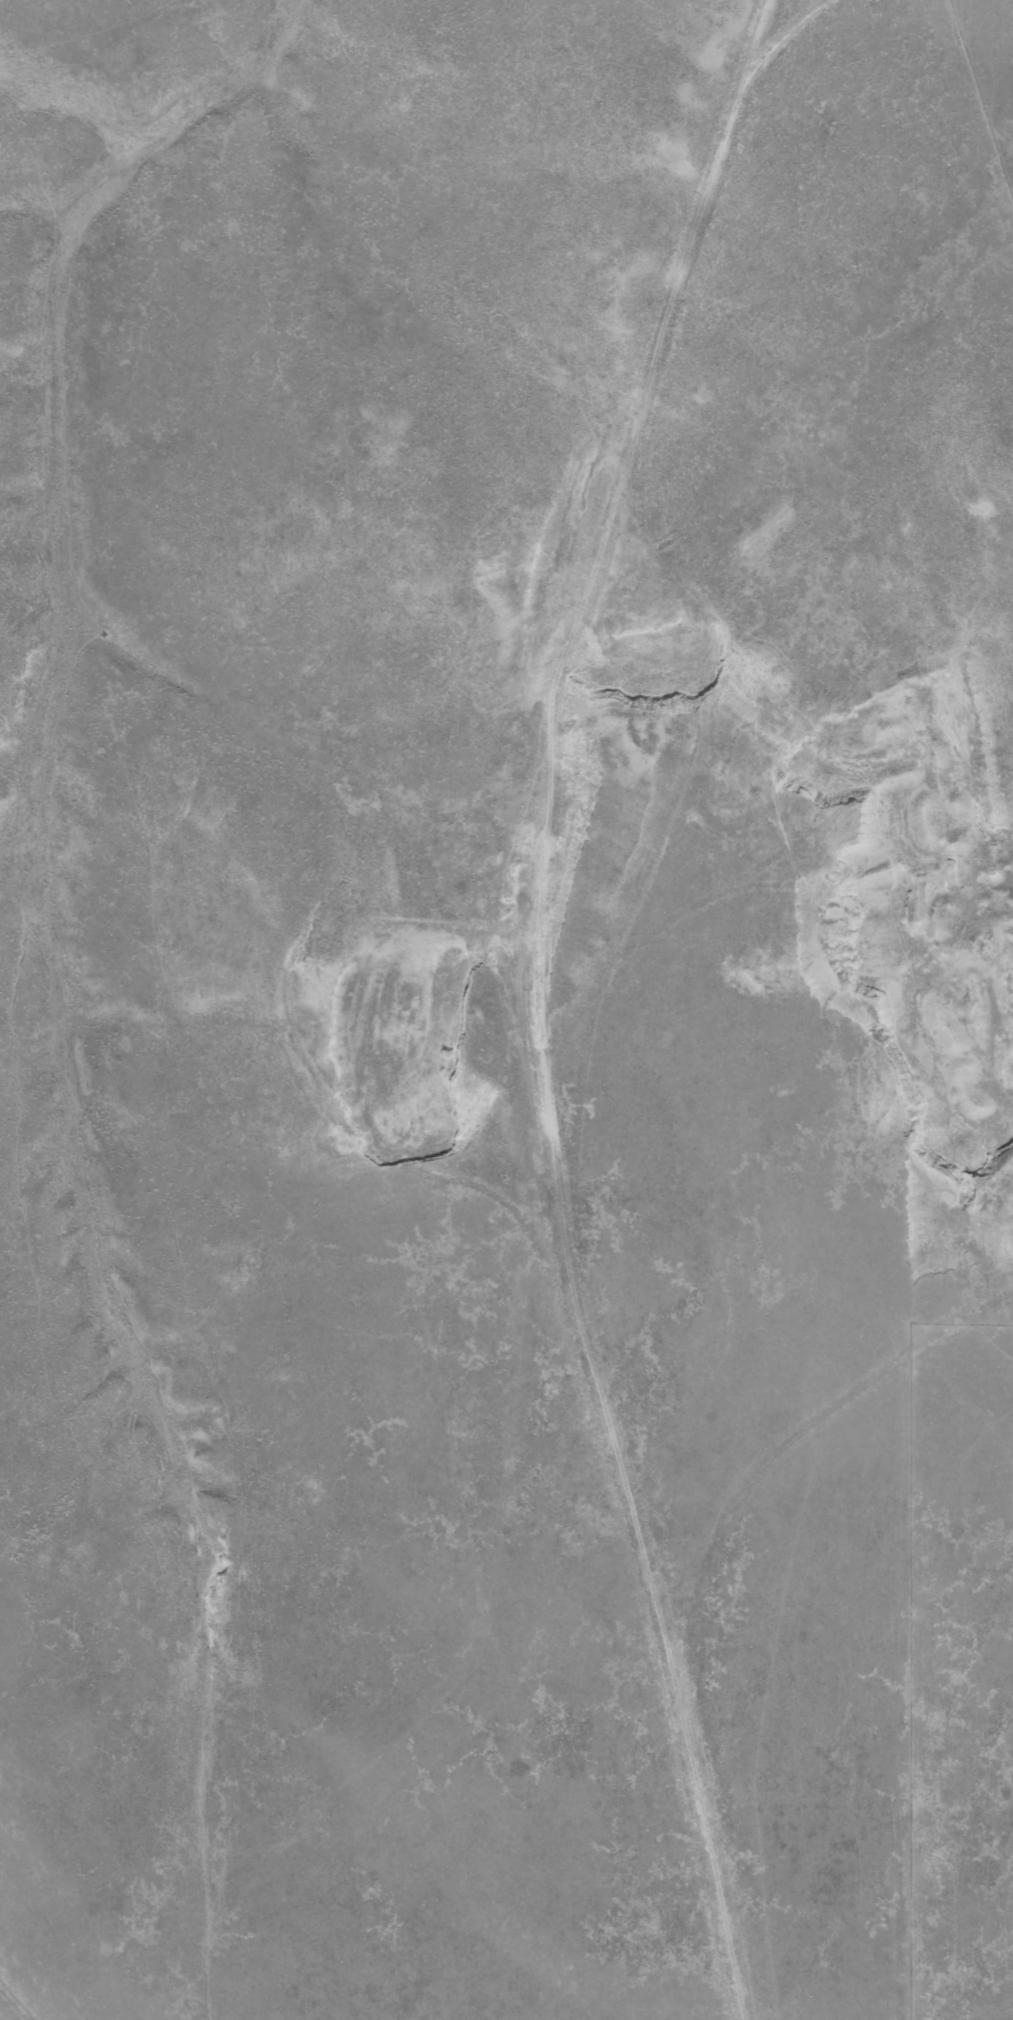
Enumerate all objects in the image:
road: (511, 977)
road: (748, 1447)

